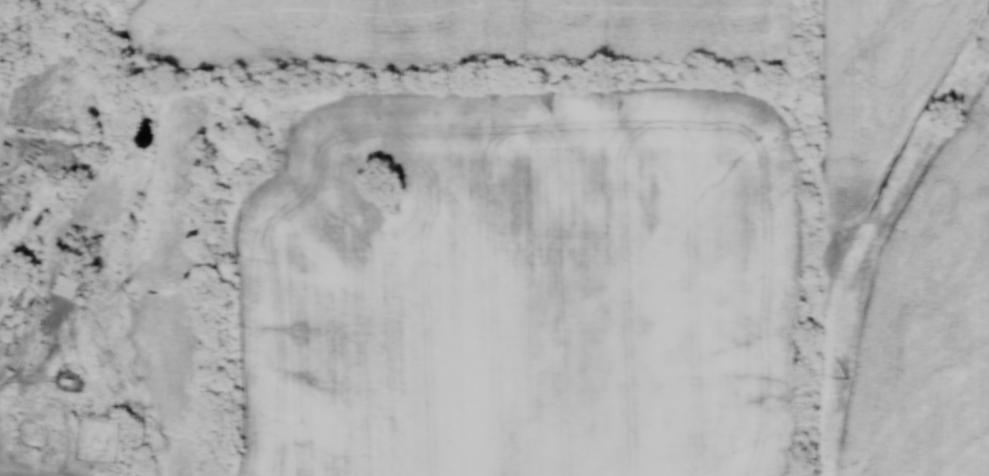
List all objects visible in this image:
building: (65, 290)
power tower: (846, 377)

